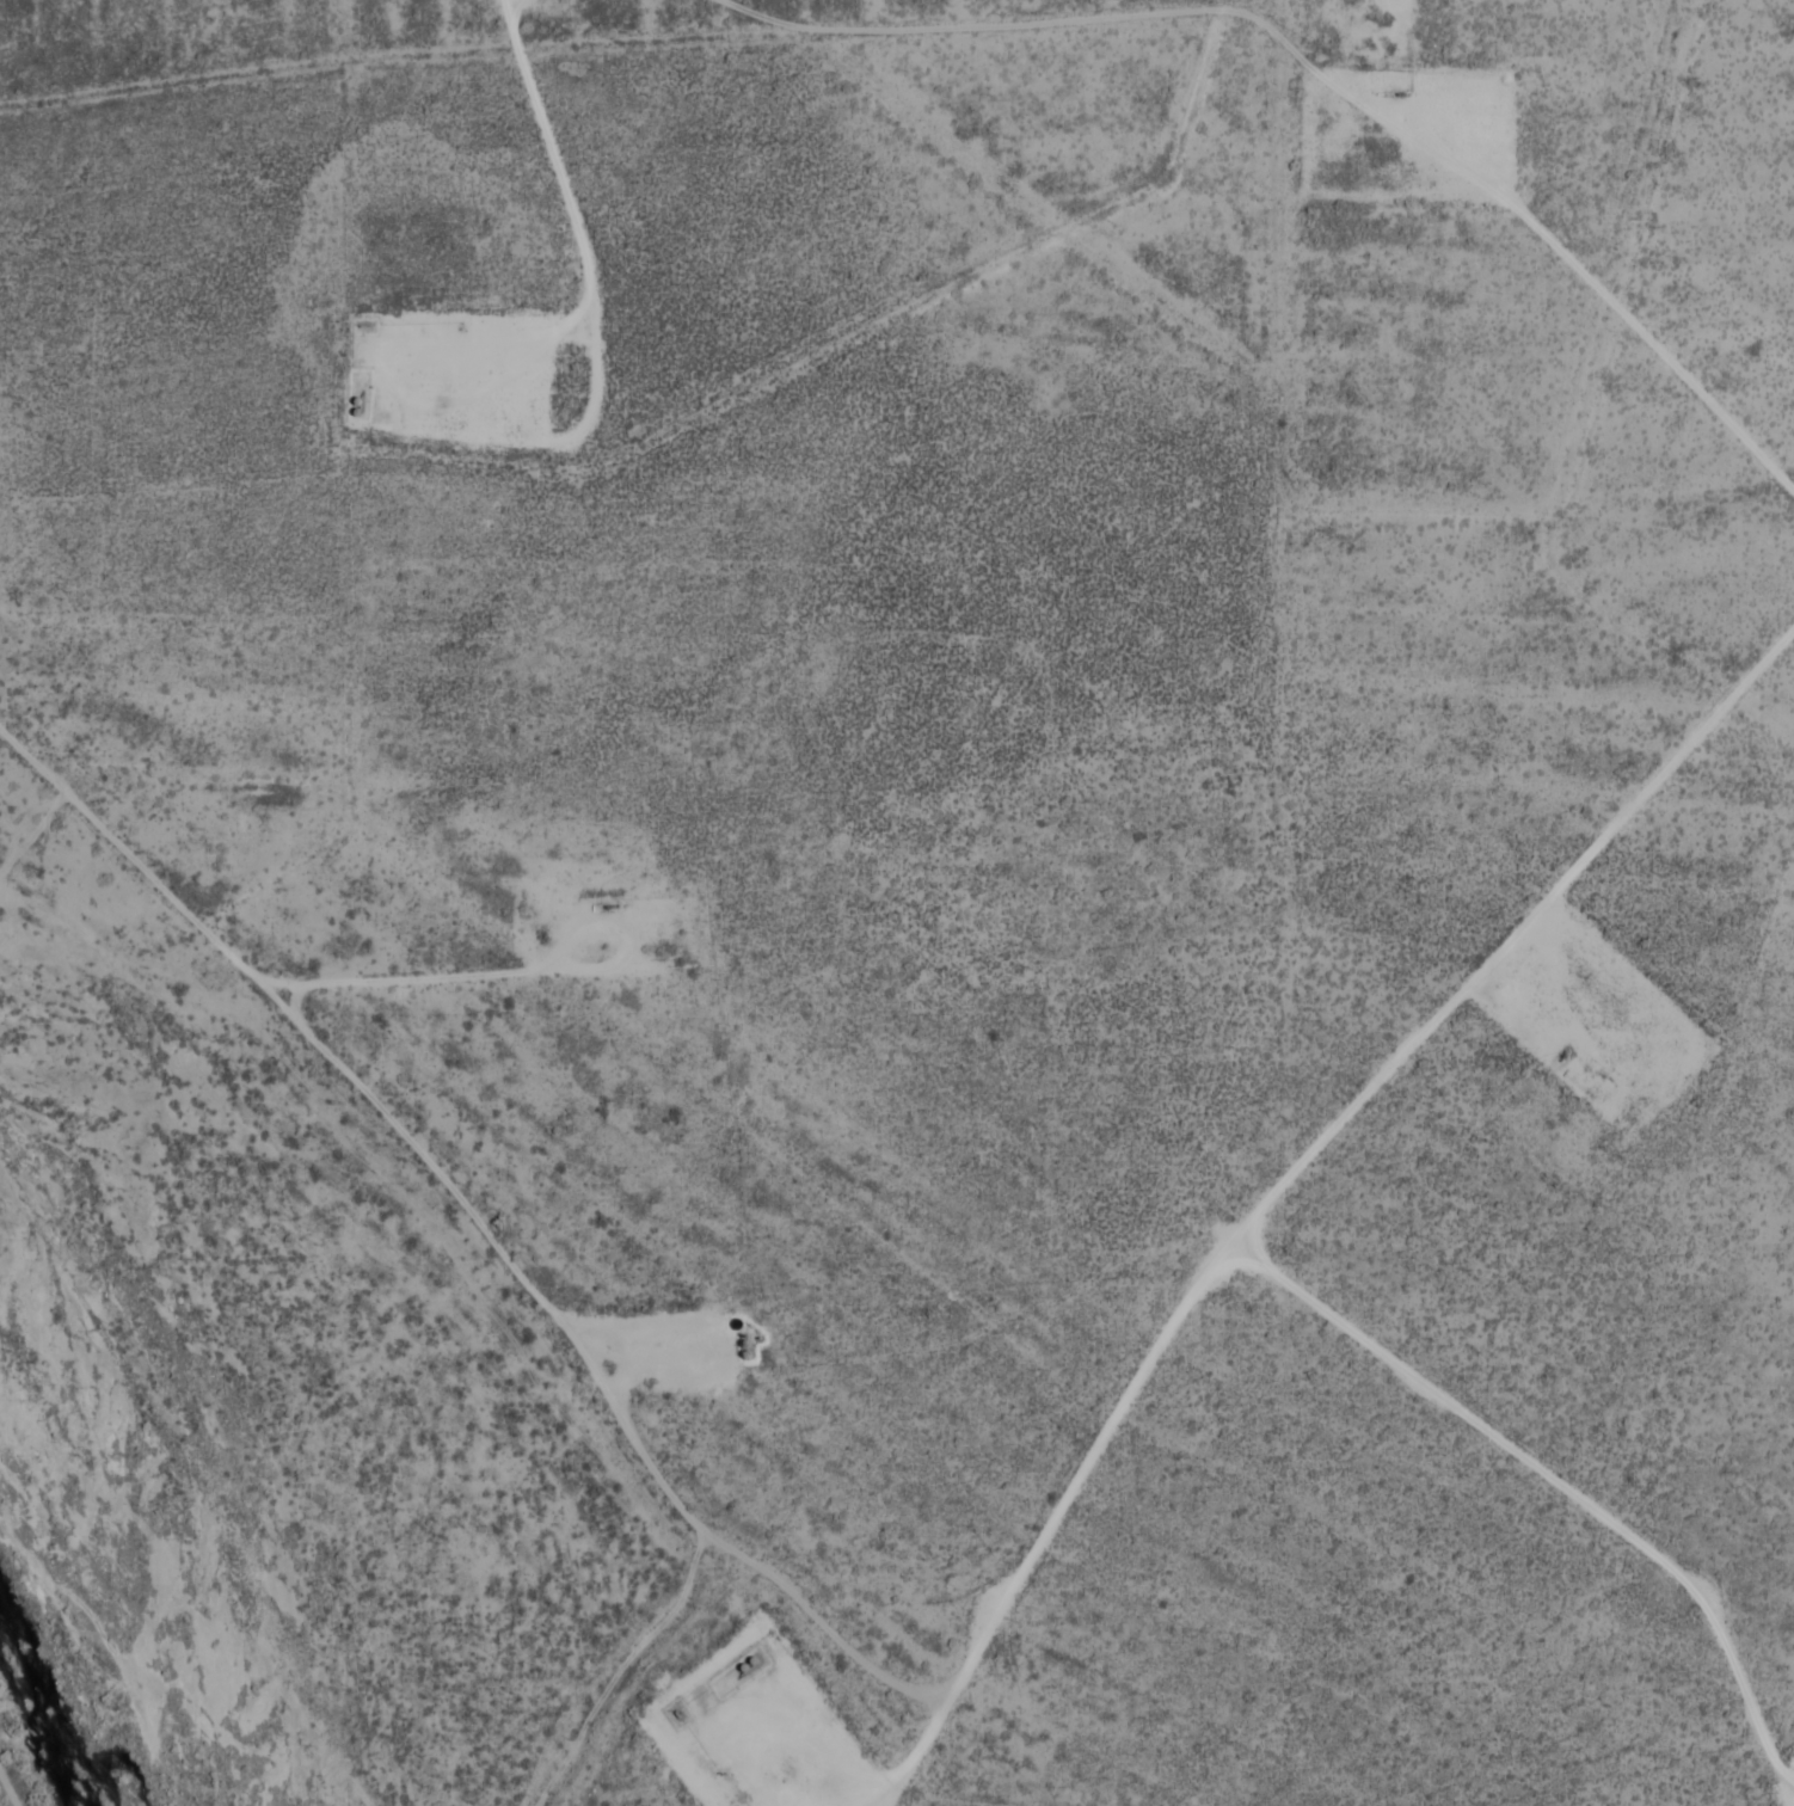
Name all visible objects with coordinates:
road: (530, 4)
road: (621, 956)
road: (394, 979)
road: (489, 1231)
road: (719, 1329)
road: (193, 1605)
road: (625, 1672)
river: (55, 1708)
road: (7, 1789)

